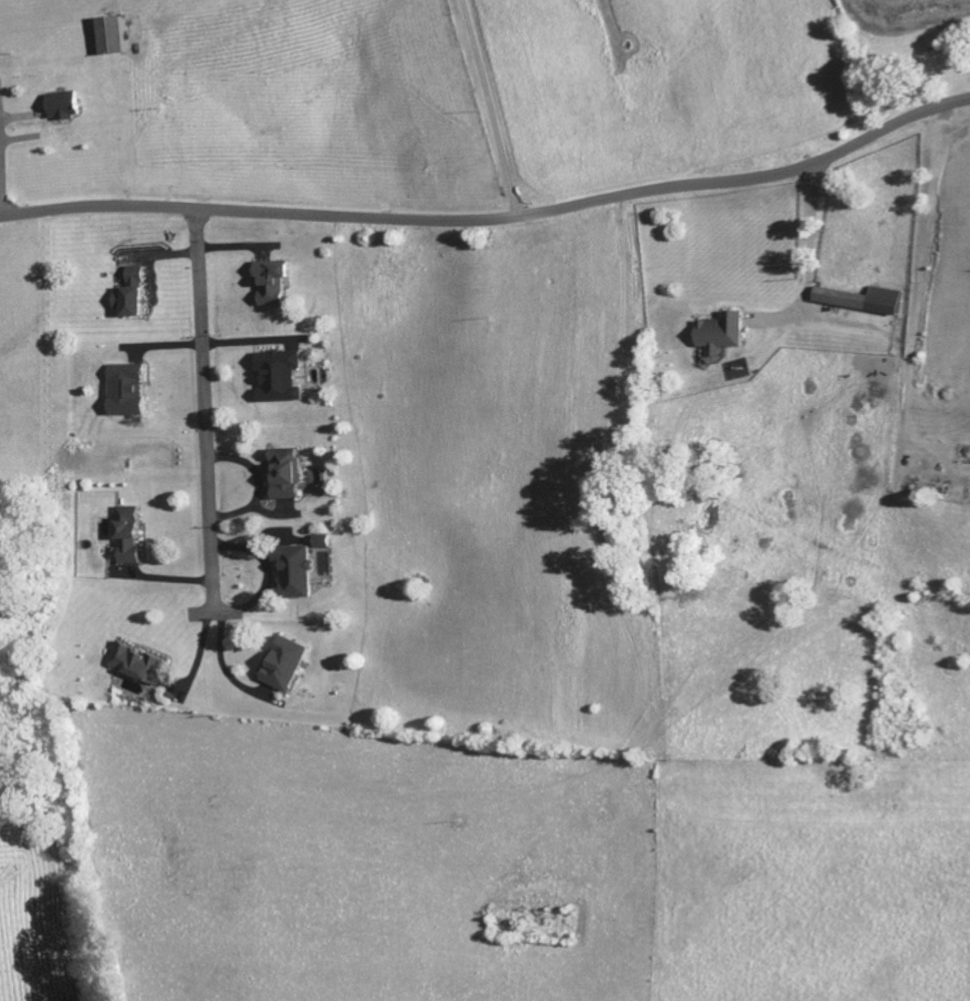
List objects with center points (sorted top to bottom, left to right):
building: (120, 35)
building: (71, 105)
road: (490, 109)
road: (2, 177)
road: (493, 222)
road: (200, 248)
road: (809, 254)
building: (280, 281)
building: (138, 293)
building: (867, 299)
building: (728, 332)
building: (288, 374)
building: (132, 387)
road: (205, 412)
road: (261, 485)
building: (137, 534)
building: (330, 542)
building: (303, 569)
road: (247, 608)
building: (148, 661)
building: (292, 662)
road: (225, 663)

